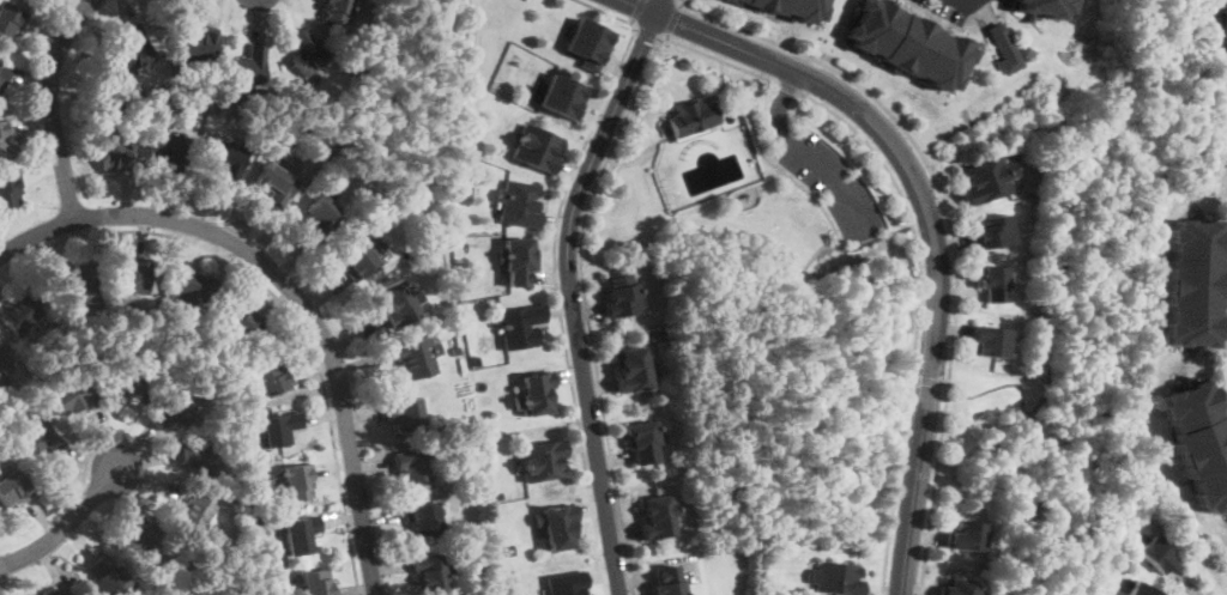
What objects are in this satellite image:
road: (963, 2)
road: (660, 6)
building: (791, 7)
building: (1041, 7)
building: (336, 10)
road: (639, 12)
building: (11, 19)
road: (676, 19)
building: (1223, 23)
road: (652, 31)
building: (199, 41)
building: (591, 42)
building: (908, 43)
building: (1003, 48)
building: (134, 49)
building: (307, 54)
road: (724, 60)
building: (250, 68)
building: (4, 75)
road: (790, 89)
building: (564, 96)
road: (52, 105)
building: (123, 105)
road: (779, 109)
building: (691, 117)
building: (258, 120)
building: (4, 135)
building: (169, 148)
building: (537, 150)
building: (115, 157)
building: (225, 159)
building: (986, 178)
building: (273, 184)
road: (839, 184)
building: (10, 189)
building: (518, 204)
road: (927, 212)
building: (321, 217)
road: (951, 225)
building: (993, 232)
building: (433, 238)
building: (358, 260)
building: (518, 261)
road: (555, 272)
building: (132, 279)
building: (1193, 281)
building: (993, 283)
building: (81, 286)
building: (192, 289)
road: (291, 289)
building: (621, 296)
road: (572, 297)
road: (279, 299)
building: (399, 303)
road: (587, 308)
building: (20, 312)
road: (918, 321)
building: (244, 323)
building: (520, 327)
building: (989, 342)
building: (457, 352)
building: (417, 357)
building: (477, 360)
building: (4, 365)
building: (631, 370)
building: (272, 377)
building: (126, 384)
building: (536, 393)
building: (71, 395)
building: (671, 395)
building: (13, 396)
building: (19, 409)
building: (174, 412)
building: (405, 414)
building: (466, 423)
building: (248, 424)
building: (279, 429)
building: (40, 438)
building: (1199, 439)
building: (643, 442)
building: (201, 460)
building: (542, 461)
building: (413, 466)
building: (298, 481)
building: (13, 488)
building: (498, 494)
building: (242, 500)
building: (195, 515)
building: (658, 517)
building: (423, 518)
building: (260, 520)
road: (65, 523)
building: (557, 526)
building: (479, 530)
building: (301, 534)
building: (966, 536)
building: (137, 540)
building: (509, 548)
building: (1156, 552)
building: (431, 572)
building: (107, 577)
building: (841, 578)
building: (667, 582)
building: (314, 583)
building: (567, 583)
building: (772, 585)
building: (959, 587)
building: (1142, 589)
building: (59, 591)
road: (1210, 594)

